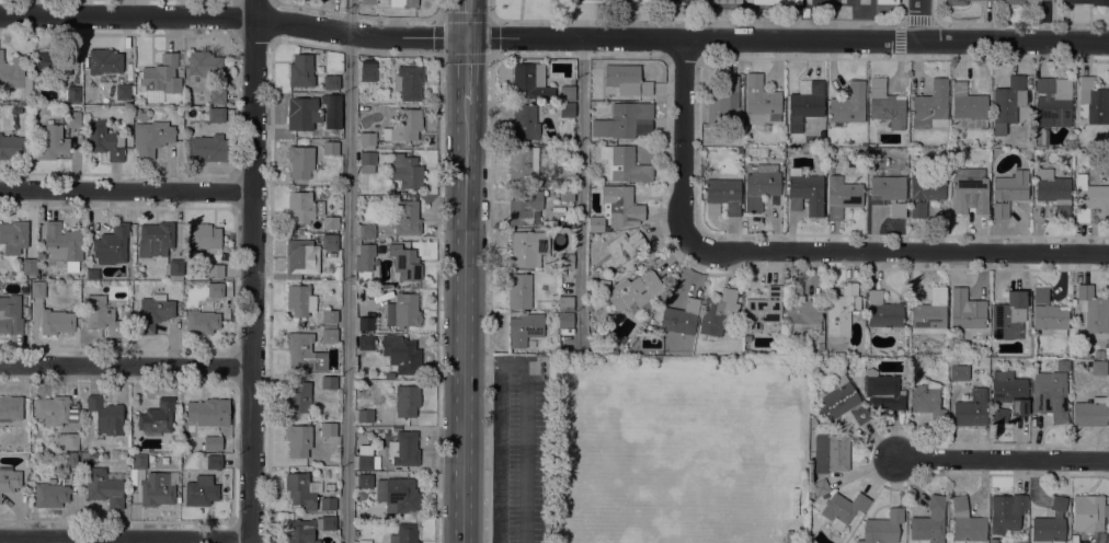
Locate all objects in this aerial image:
building: (560, 0)
building: (607, 0)
building: (654, 0)
building: (368, 1)
building: (580, 1)
building: (724, 1)
building: (887, 1)
building: (775, 2)
building: (956, 2)
building: (1013, 2)
building: (1087, 2)
building: (403, 3)
road: (438, 9)
road: (466, 19)
road: (919, 20)
road: (697, 22)
road: (553, 38)
building: (54, 61)
building: (104, 61)
building: (203, 63)
building: (300, 71)
road: (466, 71)
building: (180, 72)
building: (367, 73)
building: (14, 76)
building: (161, 76)
building: (627, 80)
building: (331, 82)
building: (529, 82)
building: (408, 83)
building: (123, 92)
building: (72, 93)
building: (567, 93)
building: (217, 95)
building: (759, 95)
building: (722, 101)
building: (1091, 102)
building: (1007, 103)
building: (848, 104)
building: (804, 105)
building: (885, 105)
building: (930, 106)
building: (1051, 106)
building: (76, 107)
building: (967, 108)
building: (567, 109)
building: (332, 111)
building: (216, 114)
building: (304, 114)
building: (72, 119)
building: (625, 120)
building: (525, 122)
building: (403, 126)
building: (151, 137)
building: (103, 140)
building: (367, 140)
building: (50, 143)
road: (684, 145)
building: (11, 147)
building: (209, 148)
building: (330, 148)
building: (567, 151)
building: (382, 159)
building: (299, 161)
building: (367, 162)
building: (562, 162)
building: (523, 163)
building: (624, 164)
building: (590, 166)
building: (405, 171)
building: (761, 184)
building: (1051, 186)
road: (580, 187)
road: (126, 190)
building: (807, 190)
building: (889, 190)
building: (970, 190)
building: (1008, 190)
building: (924, 193)
building: (565, 194)
building: (724, 194)
building: (842, 196)
building: (1090, 199)
building: (304, 206)
building: (524, 206)
building: (621, 206)
building: (1062, 211)
building: (408, 218)
building: (330, 222)
building: (595, 223)
building: (366, 231)
building: (204, 235)
building: (13, 236)
building: (156, 241)
building: (329, 242)
building: (62, 244)
building: (112, 244)
building: (528, 247)
road: (901, 251)
building: (622, 254)
building: (300, 256)
building: (364, 257)
building: (565, 262)
building: (404, 263)
building: (28, 266)
building: (175, 267)
building: (215, 270)
road: (346, 270)
road: (252, 271)
building: (92, 273)
building: (81, 275)
building: (37, 289)
building: (215, 289)
building: (636, 289)
building: (518, 291)
road: (435, 300)
building: (300, 301)
building: (565, 303)
building: (590, 307)
building: (801, 308)
building: (763, 309)
building: (405, 310)
building: (841, 310)
building: (964, 310)
building: (1091, 310)
building: (226, 312)
building: (883, 312)
building: (153, 313)
building: (718, 313)
building: (929, 313)
building: (10, 314)
building: (1048, 314)
building: (102, 315)
building: (329, 315)
building: (1008, 316)
building: (679, 317)
building: (565, 320)
building: (56, 322)
building: (201, 322)
building: (365, 323)
road: (466, 323)
building: (778, 327)
building: (524, 328)
building: (1073, 332)
building: (329, 335)
building: (366, 343)
building: (608, 351)
building: (305, 353)
building: (401, 354)
road: (126, 365)
building: (1062, 366)
building: (1098, 367)
building: (958, 372)
building: (328, 382)
building: (882, 391)
building: (1009, 392)
building: (1049, 395)
building: (299, 397)
building: (927, 400)
building: (407, 401)
building: (841, 401)
building: (10, 408)
building: (971, 408)
building: (54, 411)
building: (208, 412)
building: (1089, 413)
building: (999, 415)
building: (105, 416)
building: (157, 416)
building: (365, 416)
building: (812, 421)
building: (328, 428)
road: (493, 438)
building: (68, 440)
building: (298, 440)
building: (214, 442)
building: (404, 448)
building: (830, 453)
building: (366, 458)
road: (1004, 460)
building: (69, 461)
building: (138, 461)
building: (214, 462)
building: (9, 480)
building: (364, 481)
building: (103, 487)
building: (819, 487)
building: (156, 489)
building: (199, 490)
building: (299, 490)
building: (49, 495)
building: (397, 495)
building: (824, 496)
building: (328, 504)
building: (842, 509)
building: (1005, 512)
building: (1088, 513)
building: (929, 522)
building: (965, 522)
building: (1050, 523)
building: (306, 528)
building: (882, 528)
building: (404, 533)
road: (125, 536)
building: (364, 541)
building: (994, 541)

